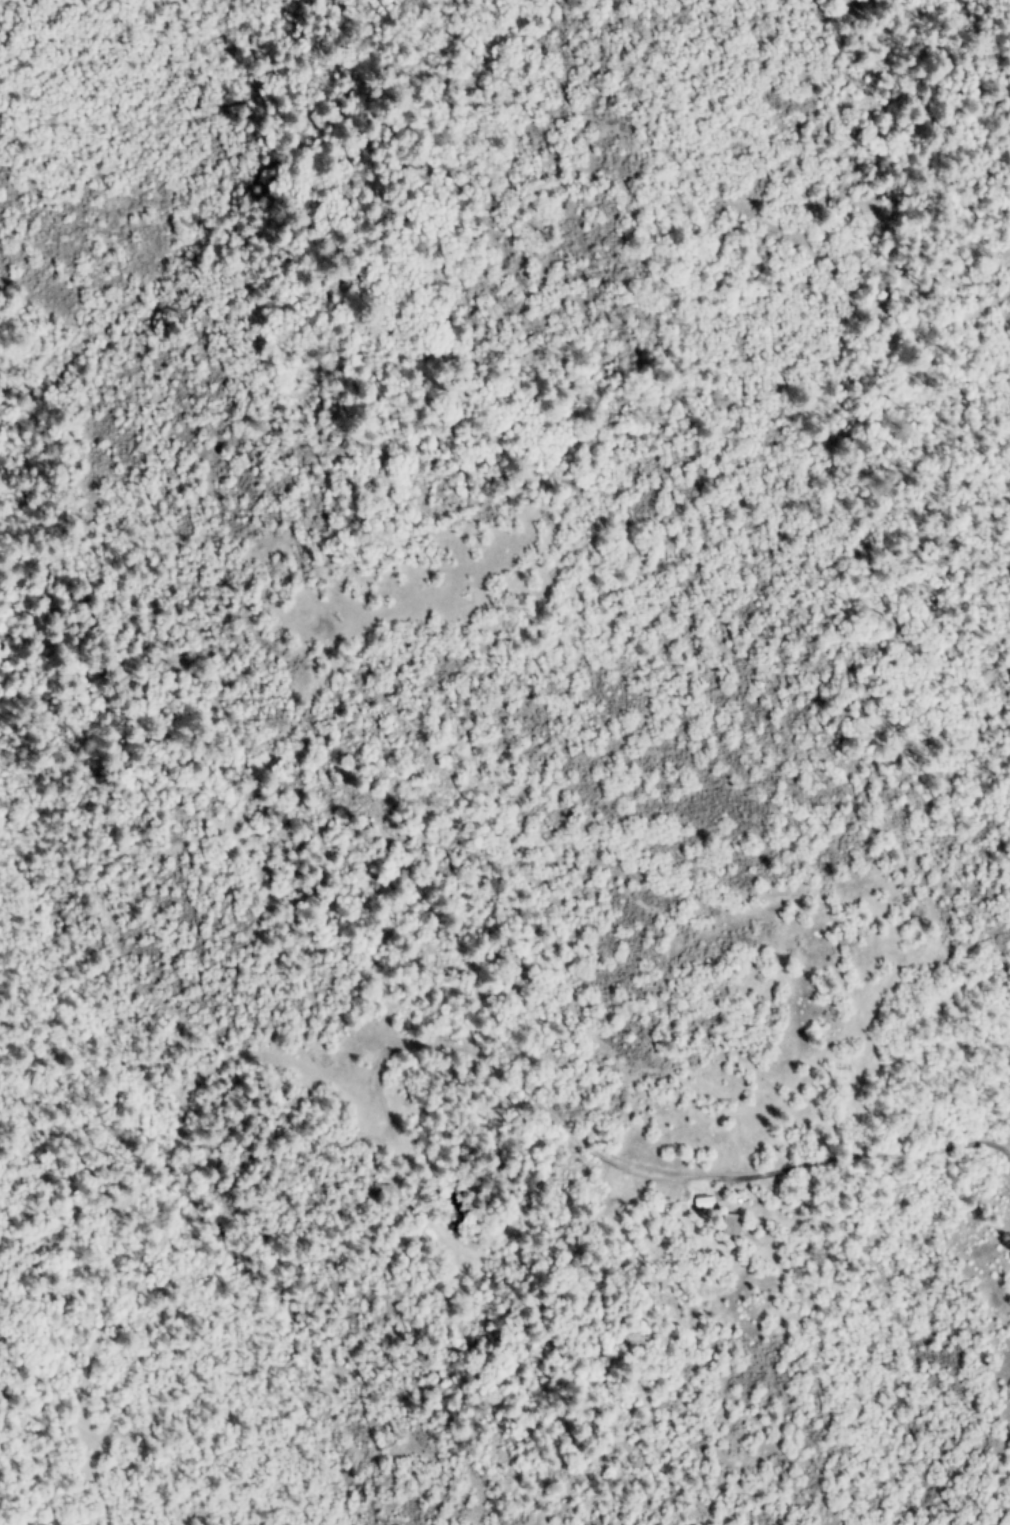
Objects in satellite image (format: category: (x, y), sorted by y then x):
building: (732, 1220)

